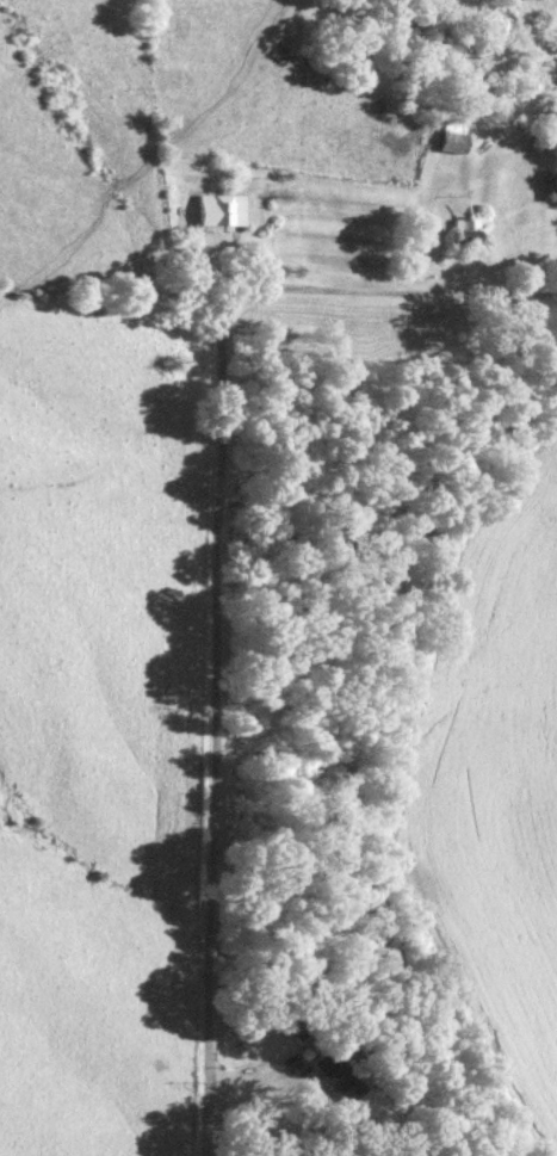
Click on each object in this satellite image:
building: (457, 134)
building: (553, 184)
building: (225, 208)
building: (471, 228)
road: (208, 560)

